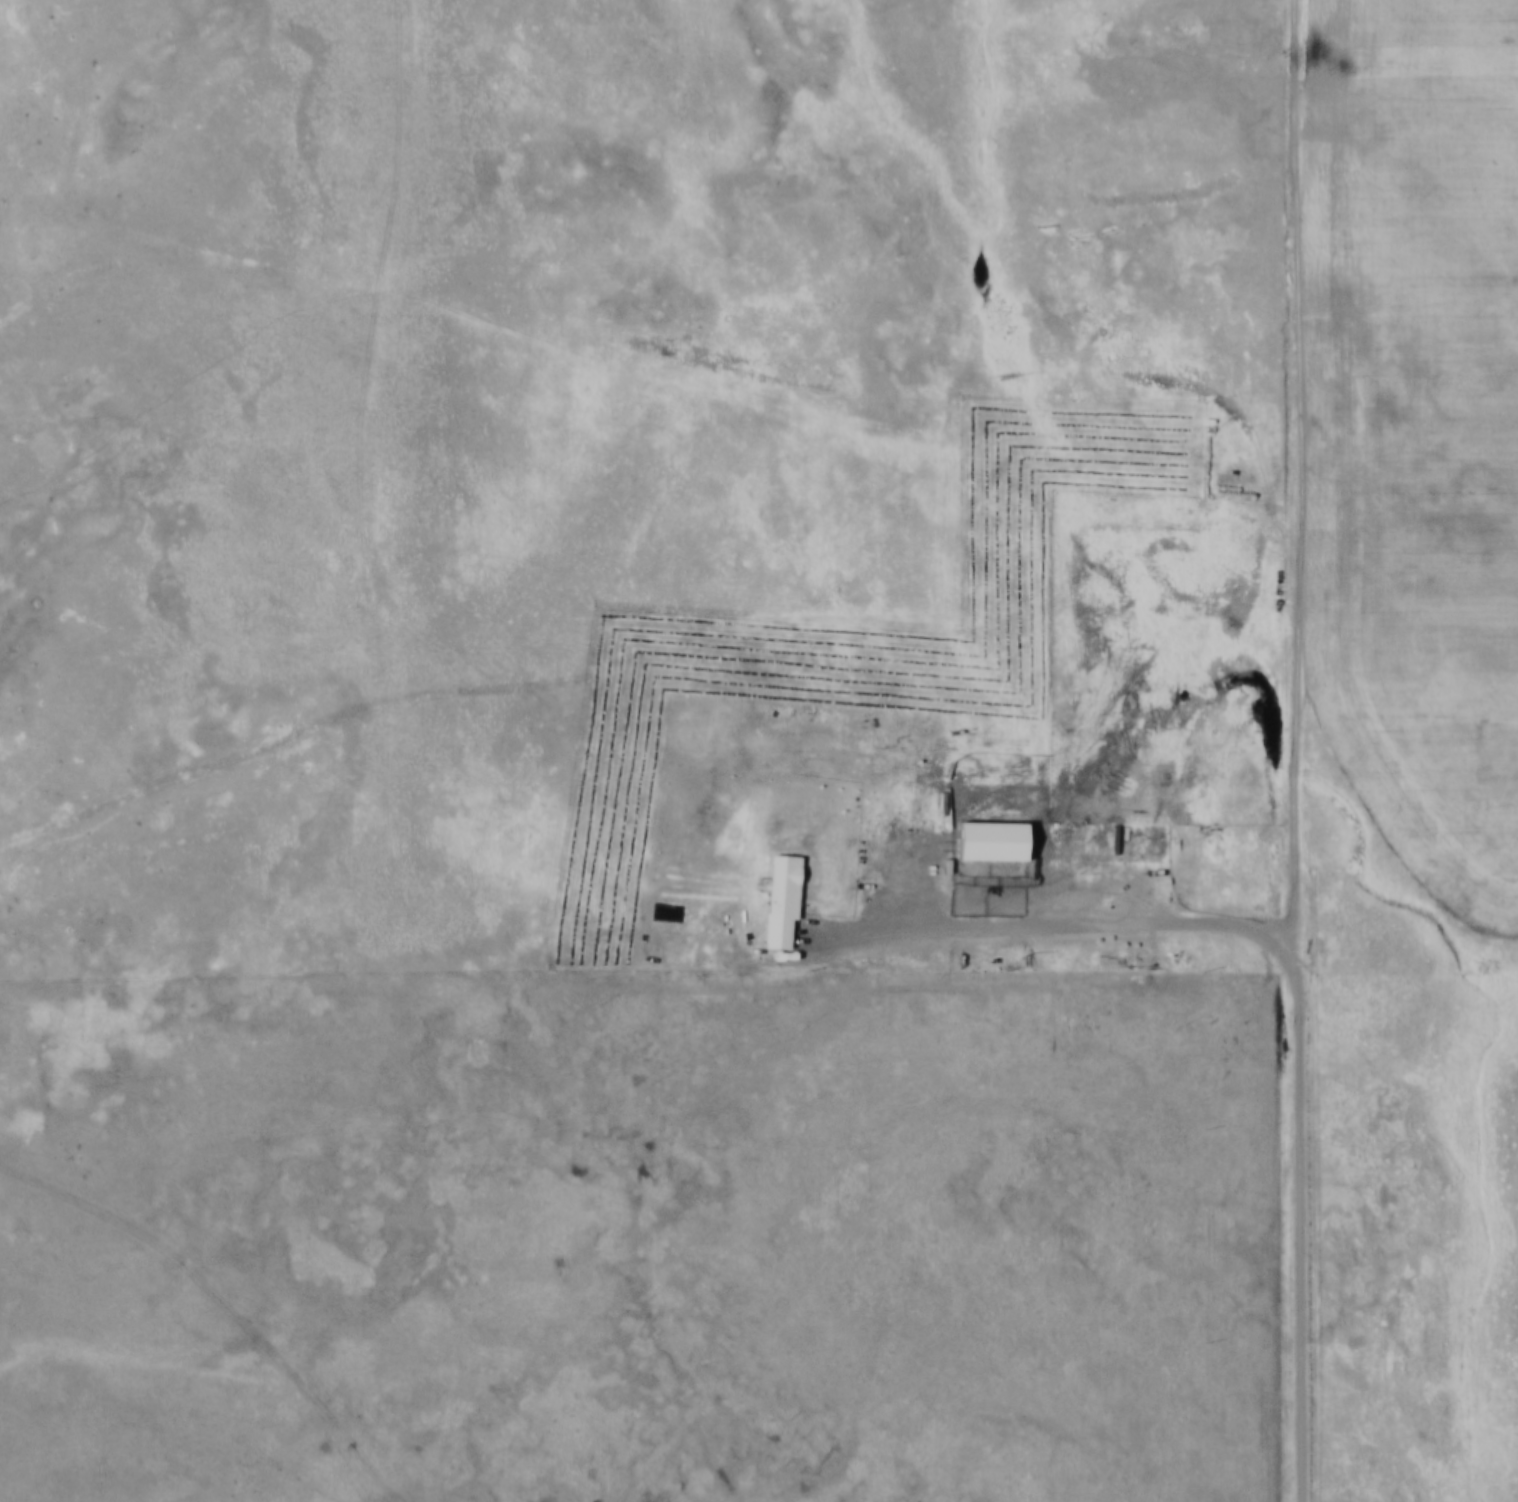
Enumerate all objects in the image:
road: (1301, 466)
building: (985, 831)
building: (1198, 857)
building: (774, 892)
road: (1053, 913)
road: (759, 969)
road: (1305, 1217)
road: (225, 1300)

